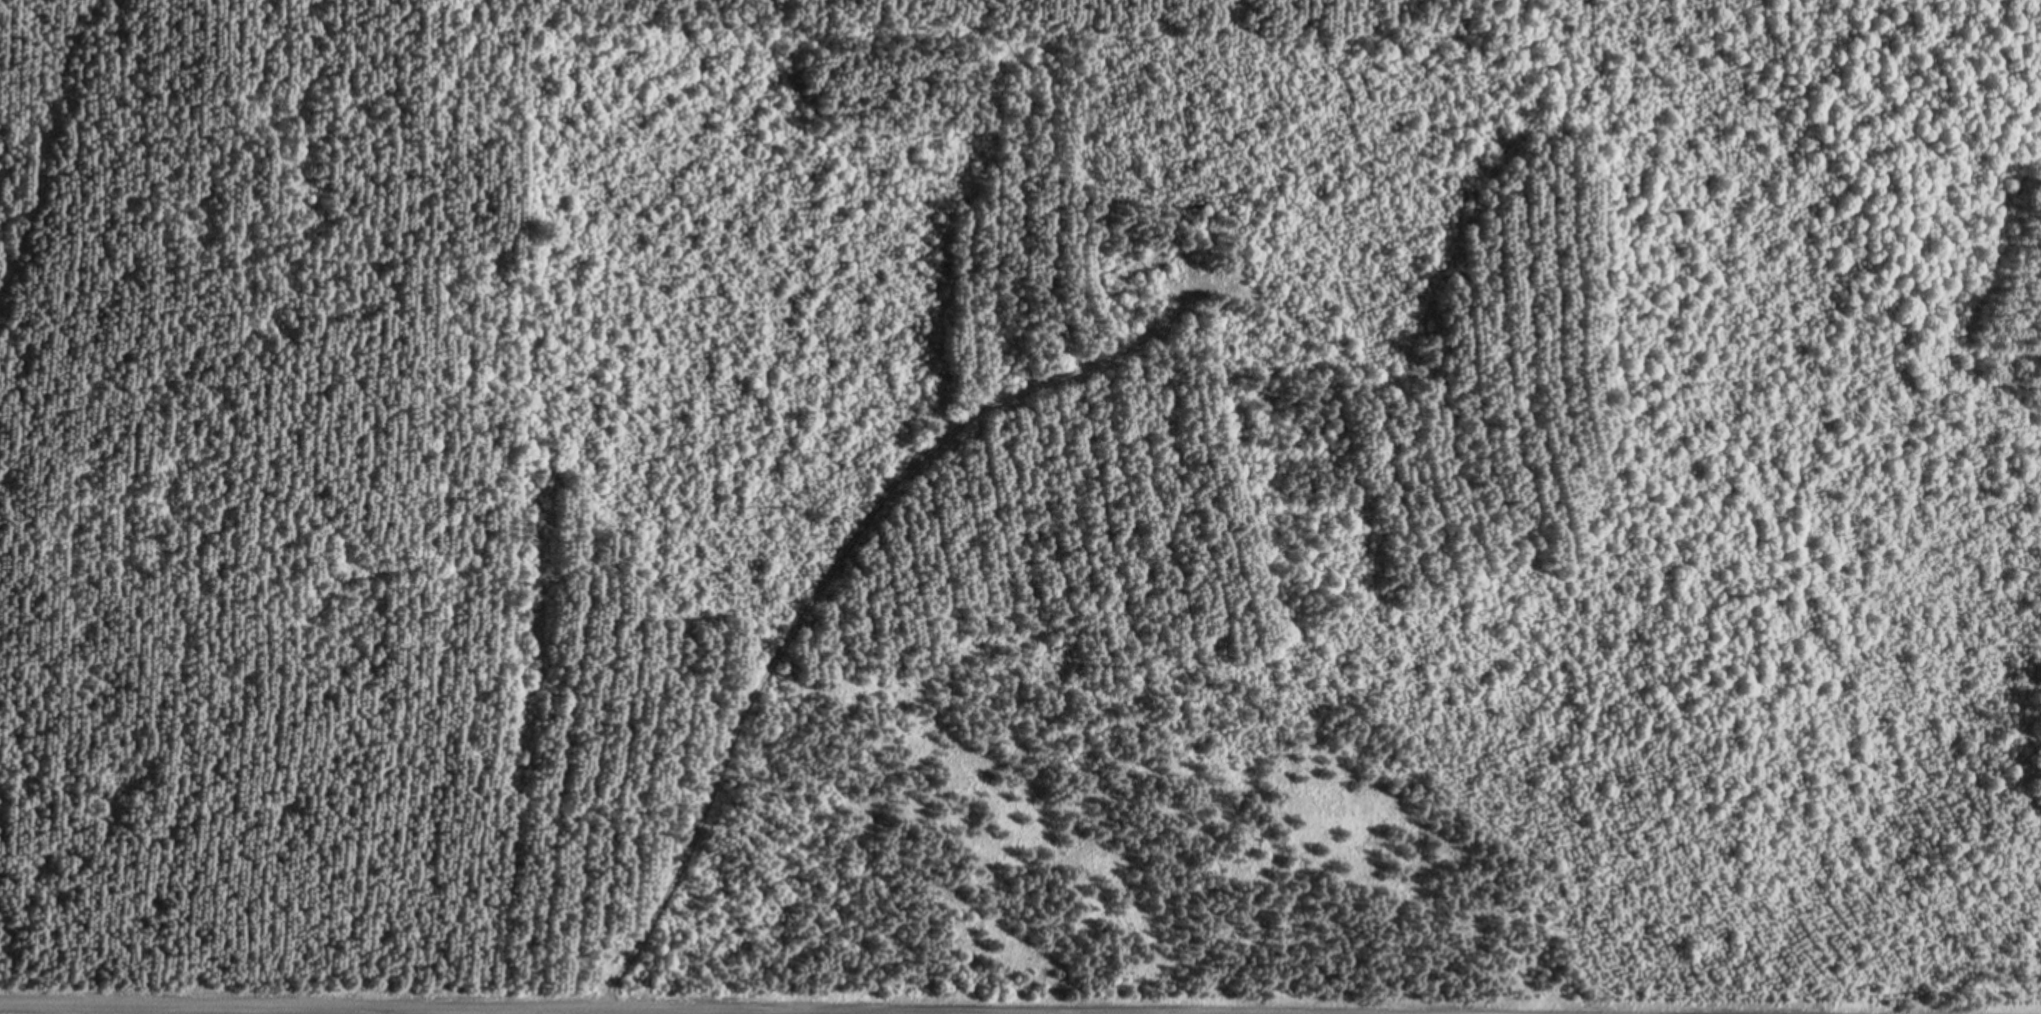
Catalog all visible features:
road: (554, 1012)

